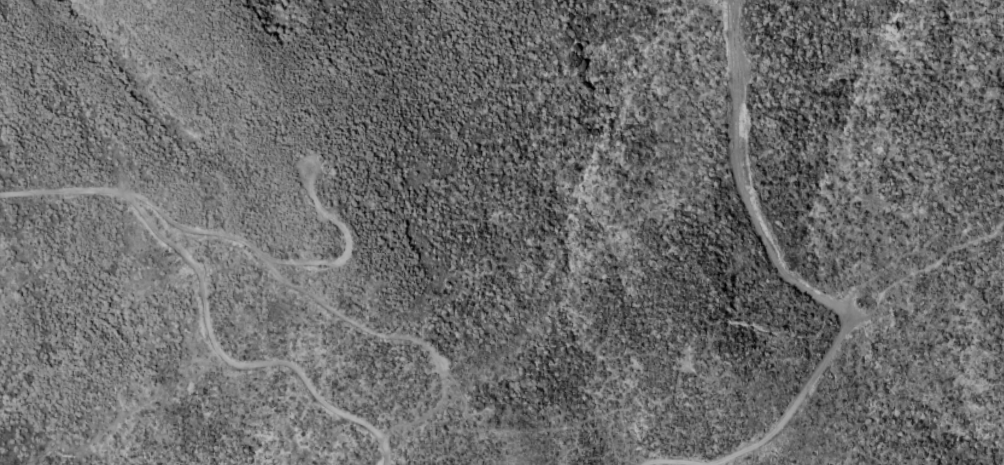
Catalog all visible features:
road: (743, 186)
road: (203, 307)
road: (826, 360)

